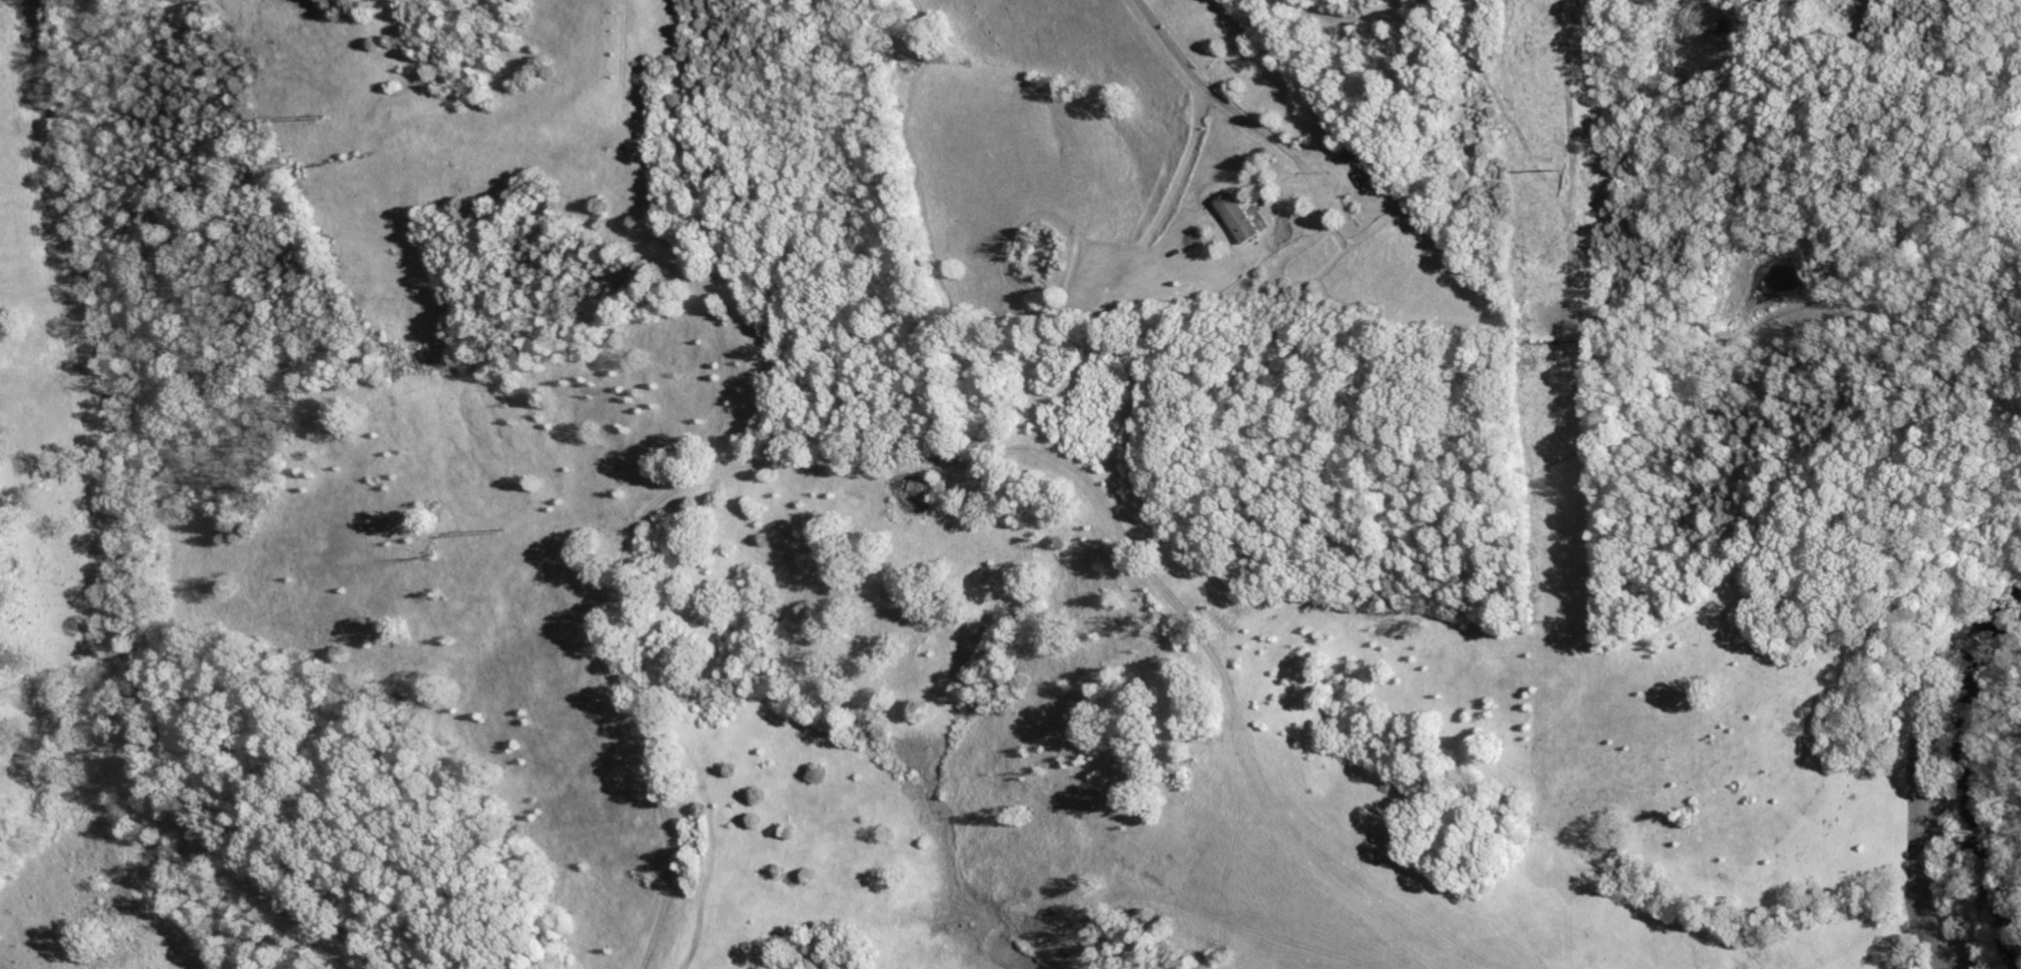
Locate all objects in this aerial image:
road: (1189, 77)
building: (1243, 219)
road: (117, 536)

